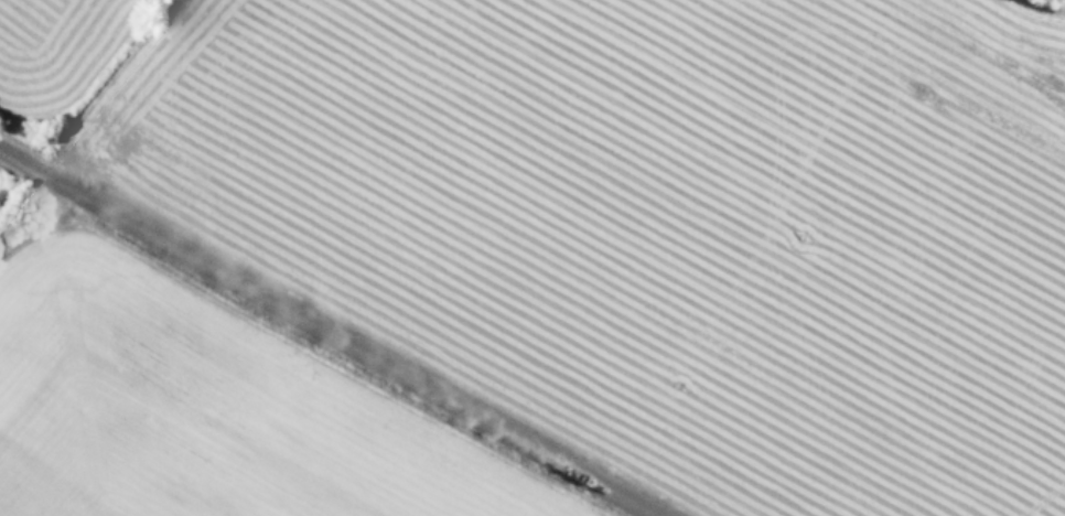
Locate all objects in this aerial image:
crop: (531, 258)
road: (325, 333)

